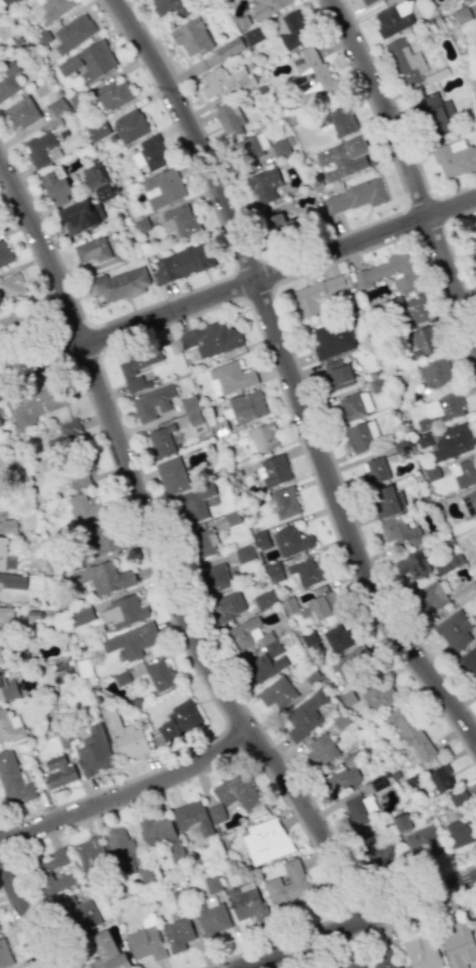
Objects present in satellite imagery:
building: (466, 0)
building: (467, 0)
building: (9, 1)
building: (367, 2)
building: (171, 6)
building: (267, 7)
building: (54, 8)
building: (475, 11)
building: (391, 21)
building: (292, 29)
building: (73, 33)
building: (191, 37)
building: (229, 49)
building: (405, 61)
building: (89, 62)
building: (313, 74)
building: (9, 81)
building: (224, 82)
building: (113, 95)
building: (58, 107)
building: (20, 113)
building: (437, 114)
building: (229, 119)
building: (337, 121)
building: (130, 126)
building: (98, 131)
building: (253, 146)
building: (281, 148)
building: (42, 149)
building: (150, 153)
building: (343, 158)
building: (454, 158)
road: (412, 172)
building: (94, 176)
building: (263, 185)
building: (163, 187)
building: (56, 188)
building: (104, 192)
building: (355, 196)
building: (80, 217)
building: (178, 221)
building: (279, 224)
building: (474, 231)
building: (92, 250)
building: (4, 253)
building: (184, 263)
building: (388, 272)
building: (120, 284)
building: (12, 287)
road: (237, 287)
building: (318, 295)
building: (416, 310)
building: (16, 323)
building: (211, 338)
building: (333, 339)
building: (422, 341)
building: (137, 365)
building: (436, 373)
building: (338, 375)
building: (229, 378)
road: (287, 381)
building: (153, 402)
building: (36, 404)
building: (245, 406)
building: (352, 406)
building: (441, 409)
building: (192, 411)
building: (0, 425)
building: (362, 436)
building: (66, 437)
building: (264, 437)
building: (162, 440)
building: (452, 442)
building: (376, 470)
building: (77, 471)
building: (274, 471)
building: (464, 472)
building: (172, 476)
building: (1, 481)
building: (387, 501)
building: (285, 502)
building: (469, 502)
building: (195, 503)
building: (85, 510)
building: (8, 526)
building: (400, 533)
building: (102, 539)
building: (292, 541)
building: (205, 543)
building: (2, 552)
building: (245, 554)
road: (158, 556)
building: (414, 564)
building: (306, 572)
building: (104, 577)
building: (215, 577)
building: (13, 581)
building: (465, 594)
building: (431, 597)
building: (265, 600)
building: (322, 603)
building: (227, 606)
building: (124, 611)
building: (82, 615)
building: (6, 620)
building: (454, 630)
building: (254, 637)
building: (339, 639)
building: (132, 641)
building: (2, 655)
building: (469, 662)
building: (353, 664)
building: (263, 668)
building: (59, 669)
building: (160, 675)
building: (8, 690)
building: (277, 693)
building: (379, 694)
building: (305, 715)
building: (180, 720)
building: (10, 727)
building: (412, 734)
building: (126, 737)
building: (320, 750)
building: (94, 751)
building: (59, 771)
building: (441, 779)
building: (13, 780)
building: (342, 780)
building: (236, 791)
road: (127, 795)
building: (460, 800)
building: (359, 809)
building: (216, 814)
building: (193, 818)
building: (402, 823)
building: (462, 830)
building: (161, 836)
building: (265, 840)
building: (422, 843)
building: (121, 849)
building: (90, 854)
building: (381, 857)
building: (42, 871)
building: (288, 885)
building: (246, 902)
building: (79, 913)
building: (211, 916)
road: (26, 918)
road: (358, 924)
building: (177, 934)
building: (146, 943)
building: (458, 945)
building: (107, 952)
building: (422, 952)
building: (4, 955)
building: (384, 959)
building: (353, 965)

